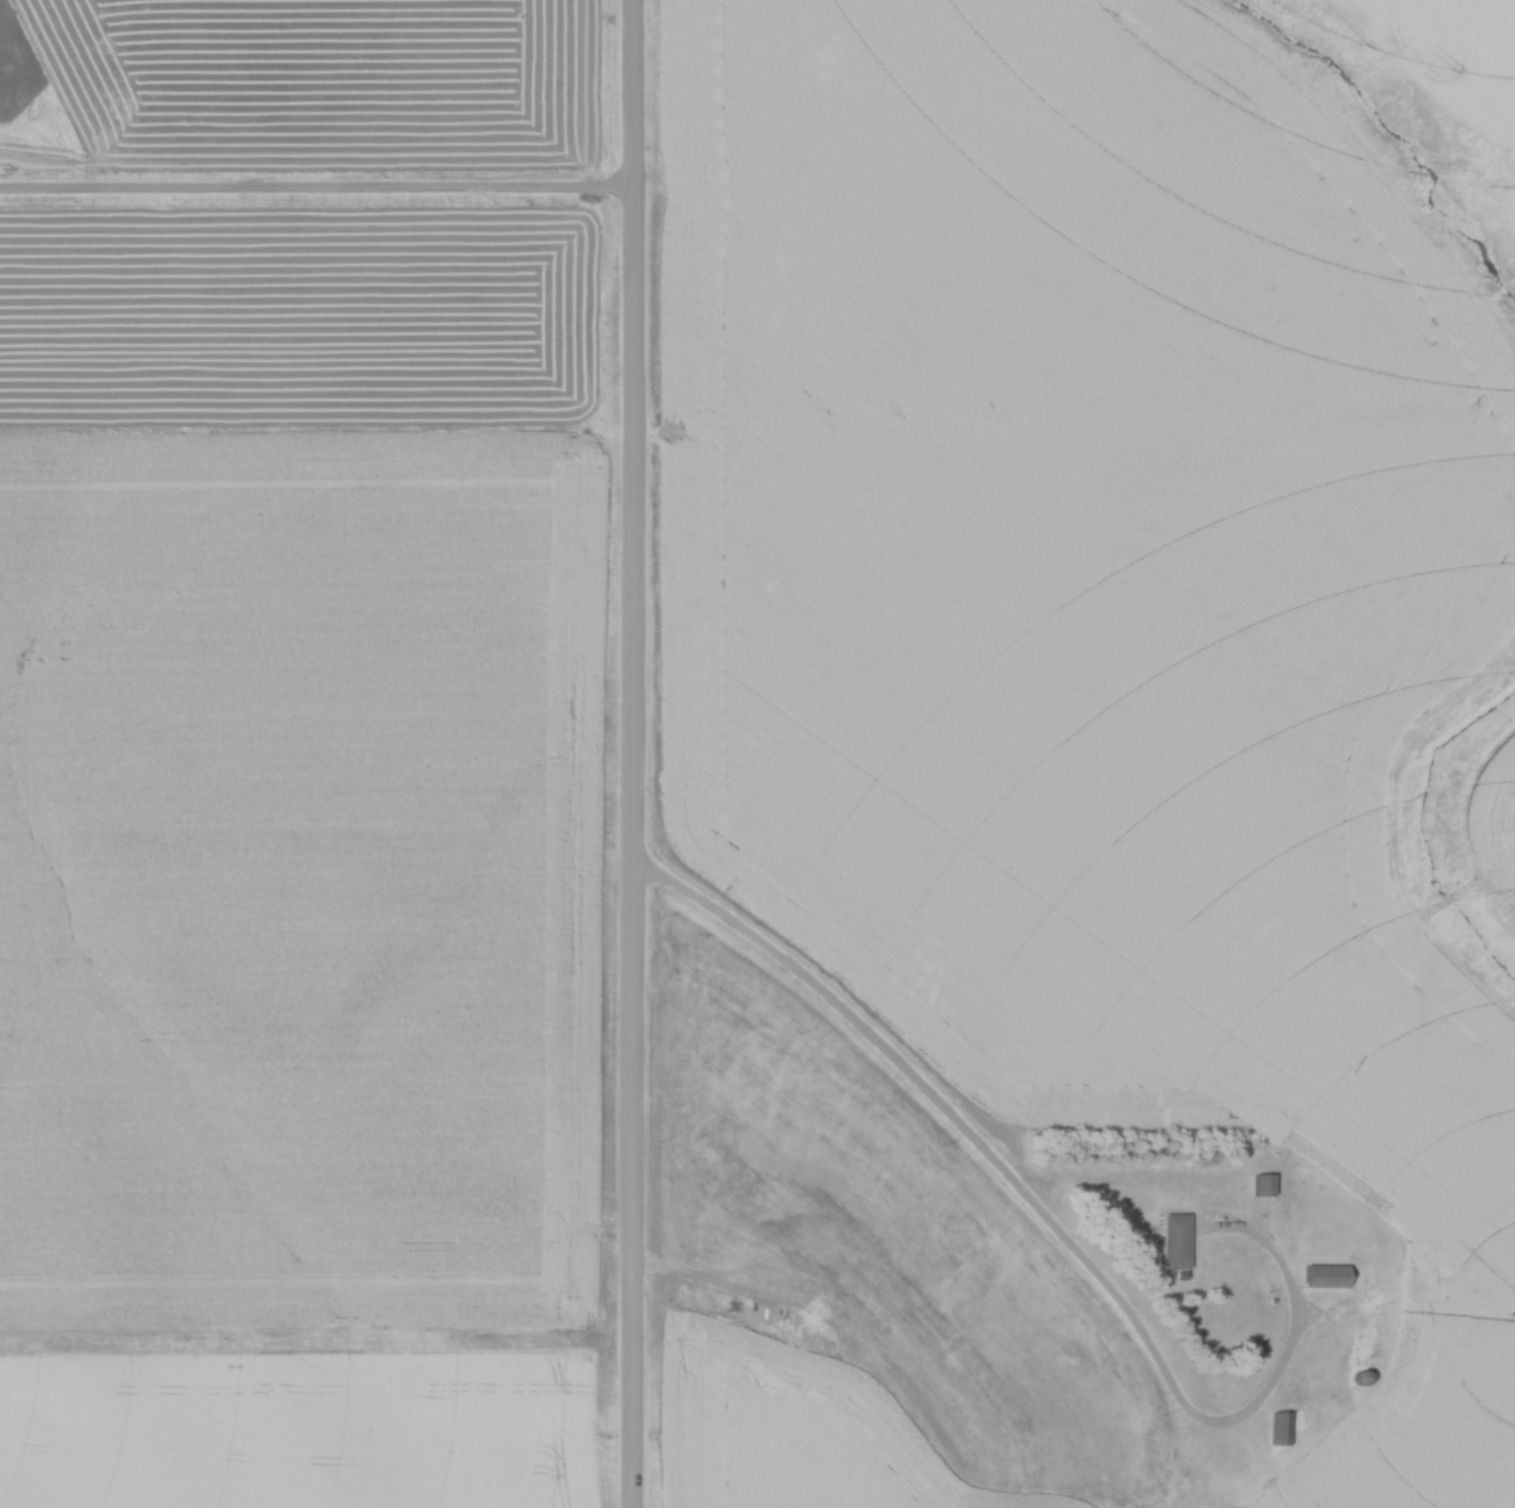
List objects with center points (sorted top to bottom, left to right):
road: (317, 191)
road: (633, 753)
road: (648, 866)
building: (1262, 1184)
road: (1051, 1223)
building: (1175, 1241)
building: (1325, 1276)
building: (1281, 1428)

